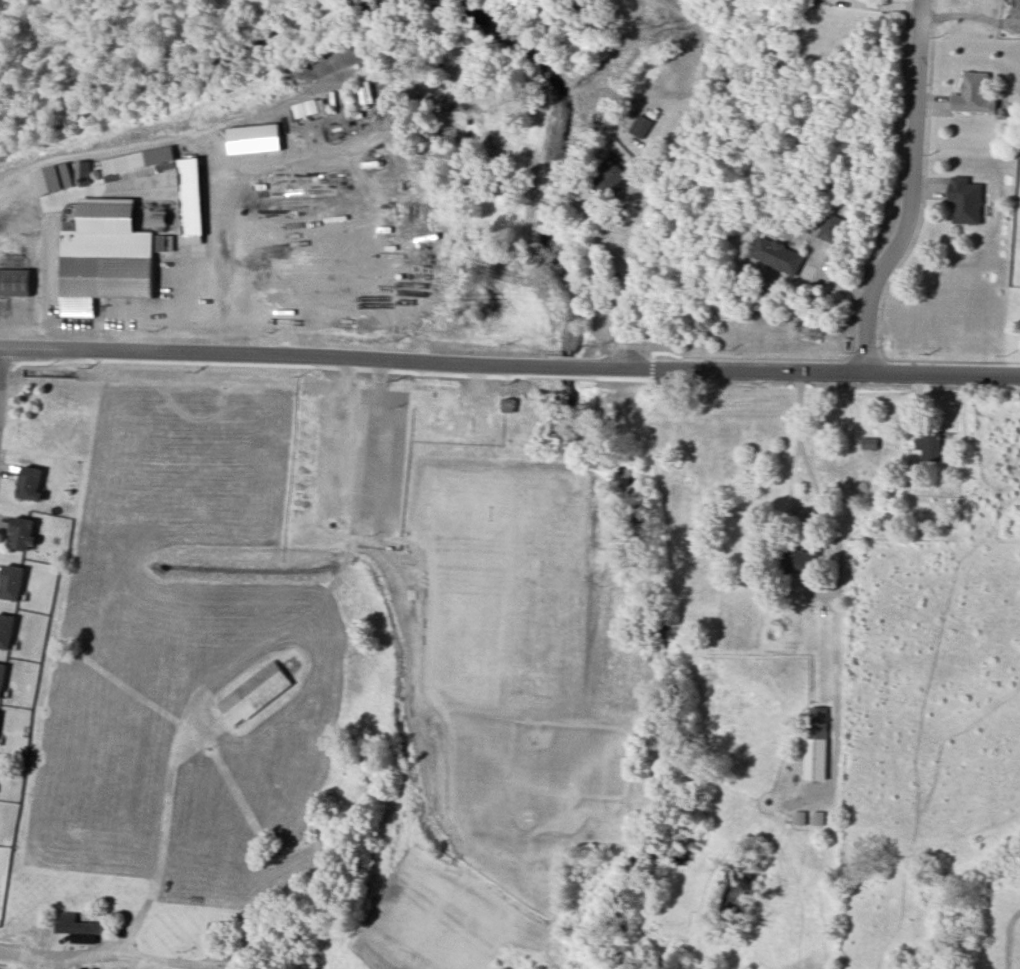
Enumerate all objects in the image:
building: (977, 90)
building: (643, 128)
building: (118, 165)
building: (612, 176)
road: (670, 179)
road: (916, 195)
building: (966, 201)
road: (165, 203)
building: (831, 228)
road: (611, 246)
building: (779, 257)
building: (106, 275)
building: (15, 285)
road: (241, 299)
road: (45, 326)
road: (509, 368)
building: (508, 405)
building: (868, 443)
building: (927, 444)
road: (11, 470)
building: (31, 482)
road: (788, 490)
road: (818, 494)
road: (6, 522)
road: (356, 523)
building: (22, 532)
building: (802, 561)
park: (503, 586)
park: (487, 602)
road: (418, 667)
building: (255, 693)
building: (818, 741)
park: (539, 777)
road: (162, 813)
building: (800, 817)
building: (818, 817)
building: (77, 931)
building: (222, 931)
road: (104, 953)

